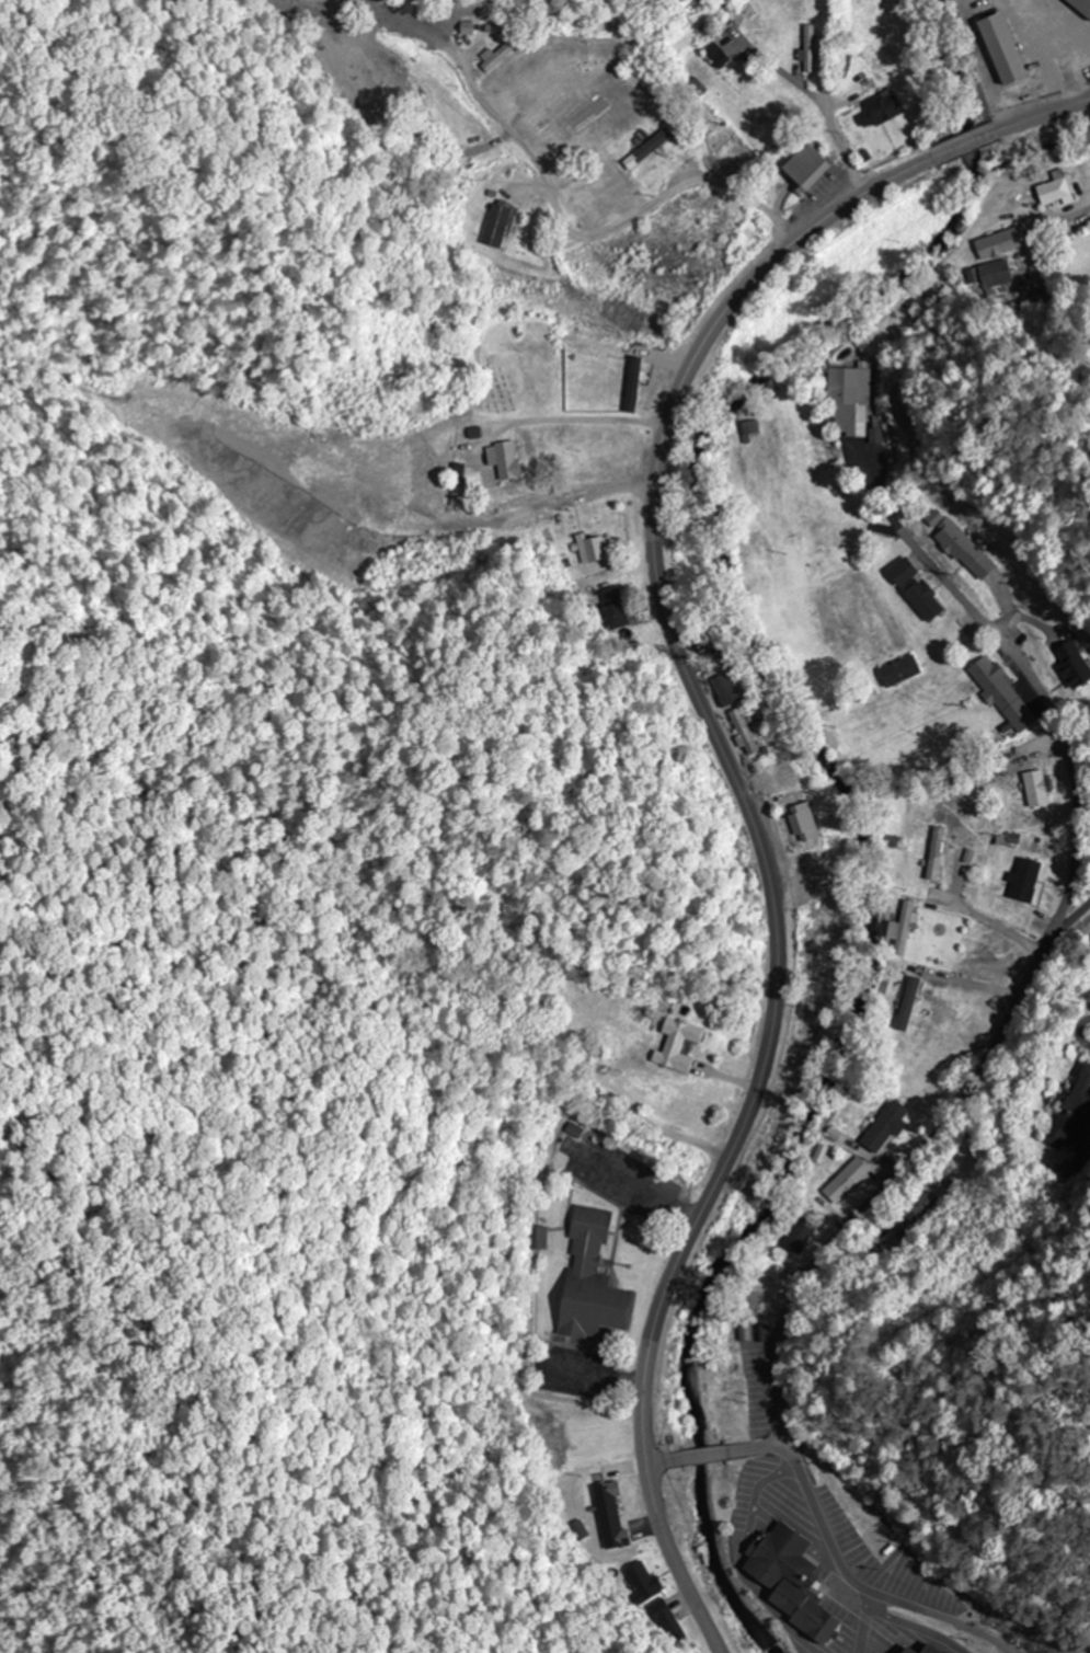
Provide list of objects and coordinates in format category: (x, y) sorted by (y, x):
building: (1080, 7)
building: (749, 23)
building: (808, 47)
building: (713, 54)
building: (495, 56)
building: (842, 58)
building: (879, 107)
road: (1043, 114)
road: (968, 144)
building: (643, 149)
building: (801, 167)
building: (1052, 188)
building: (494, 225)
building: (997, 242)
building: (993, 274)
building: (848, 400)
building: (817, 440)
building: (501, 459)
building: (955, 543)
building: (590, 547)
building: (914, 589)
building: (611, 606)
building: (897, 669)
building: (991, 682)
building: (725, 688)
building: (742, 731)
building: (788, 769)
building: (1033, 788)
building: (909, 818)
building: (803, 820)
road: (758, 850)
building: (936, 853)
building: (810, 857)
building: (1022, 879)
building: (900, 929)
building: (673, 1044)
road: (984, 1057)
building: (662, 1093)
building: (1070, 1111)
building: (883, 1125)
building: (570, 1135)
building: (838, 1185)
building: (915, 1216)
building: (795, 1233)
building: (533, 1244)
building: (756, 1277)
building: (588, 1285)
building: (748, 1305)
road: (750, 1448)
road: (699, 1455)
road: (663, 1459)
building: (606, 1519)
building: (791, 1582)
building: (650, 1608)
road: (939, 1611)
road: (857, 1629)
building: (926, 1652)

